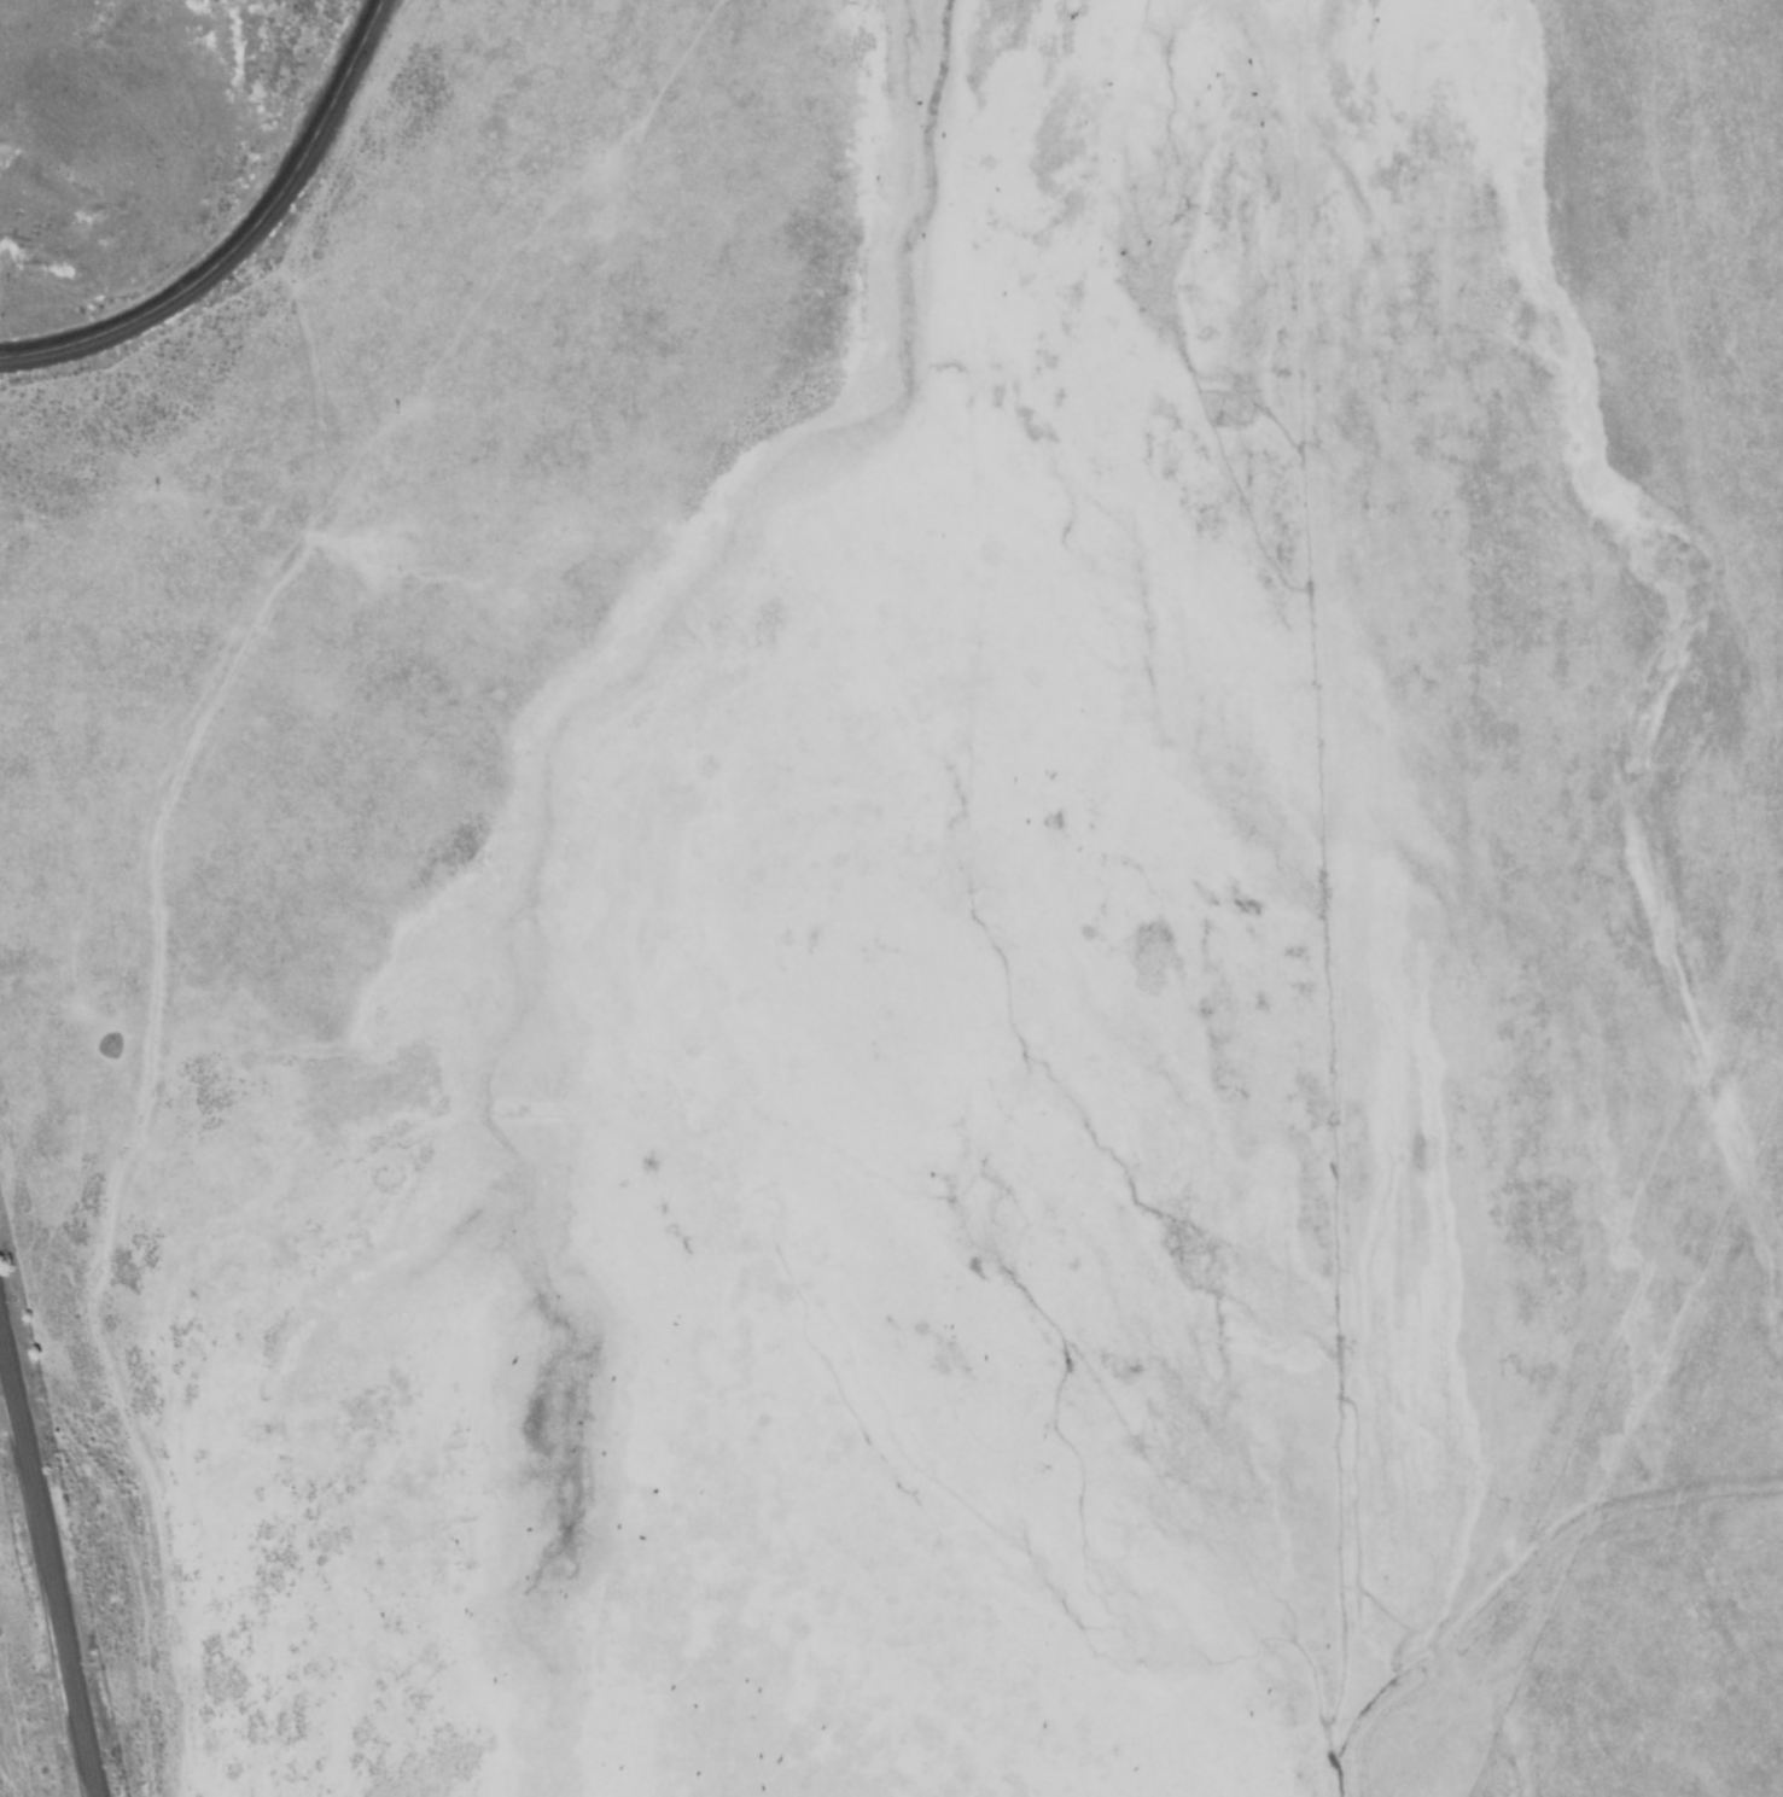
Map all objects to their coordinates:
road: (239, 235)
road: (48, 1560)

